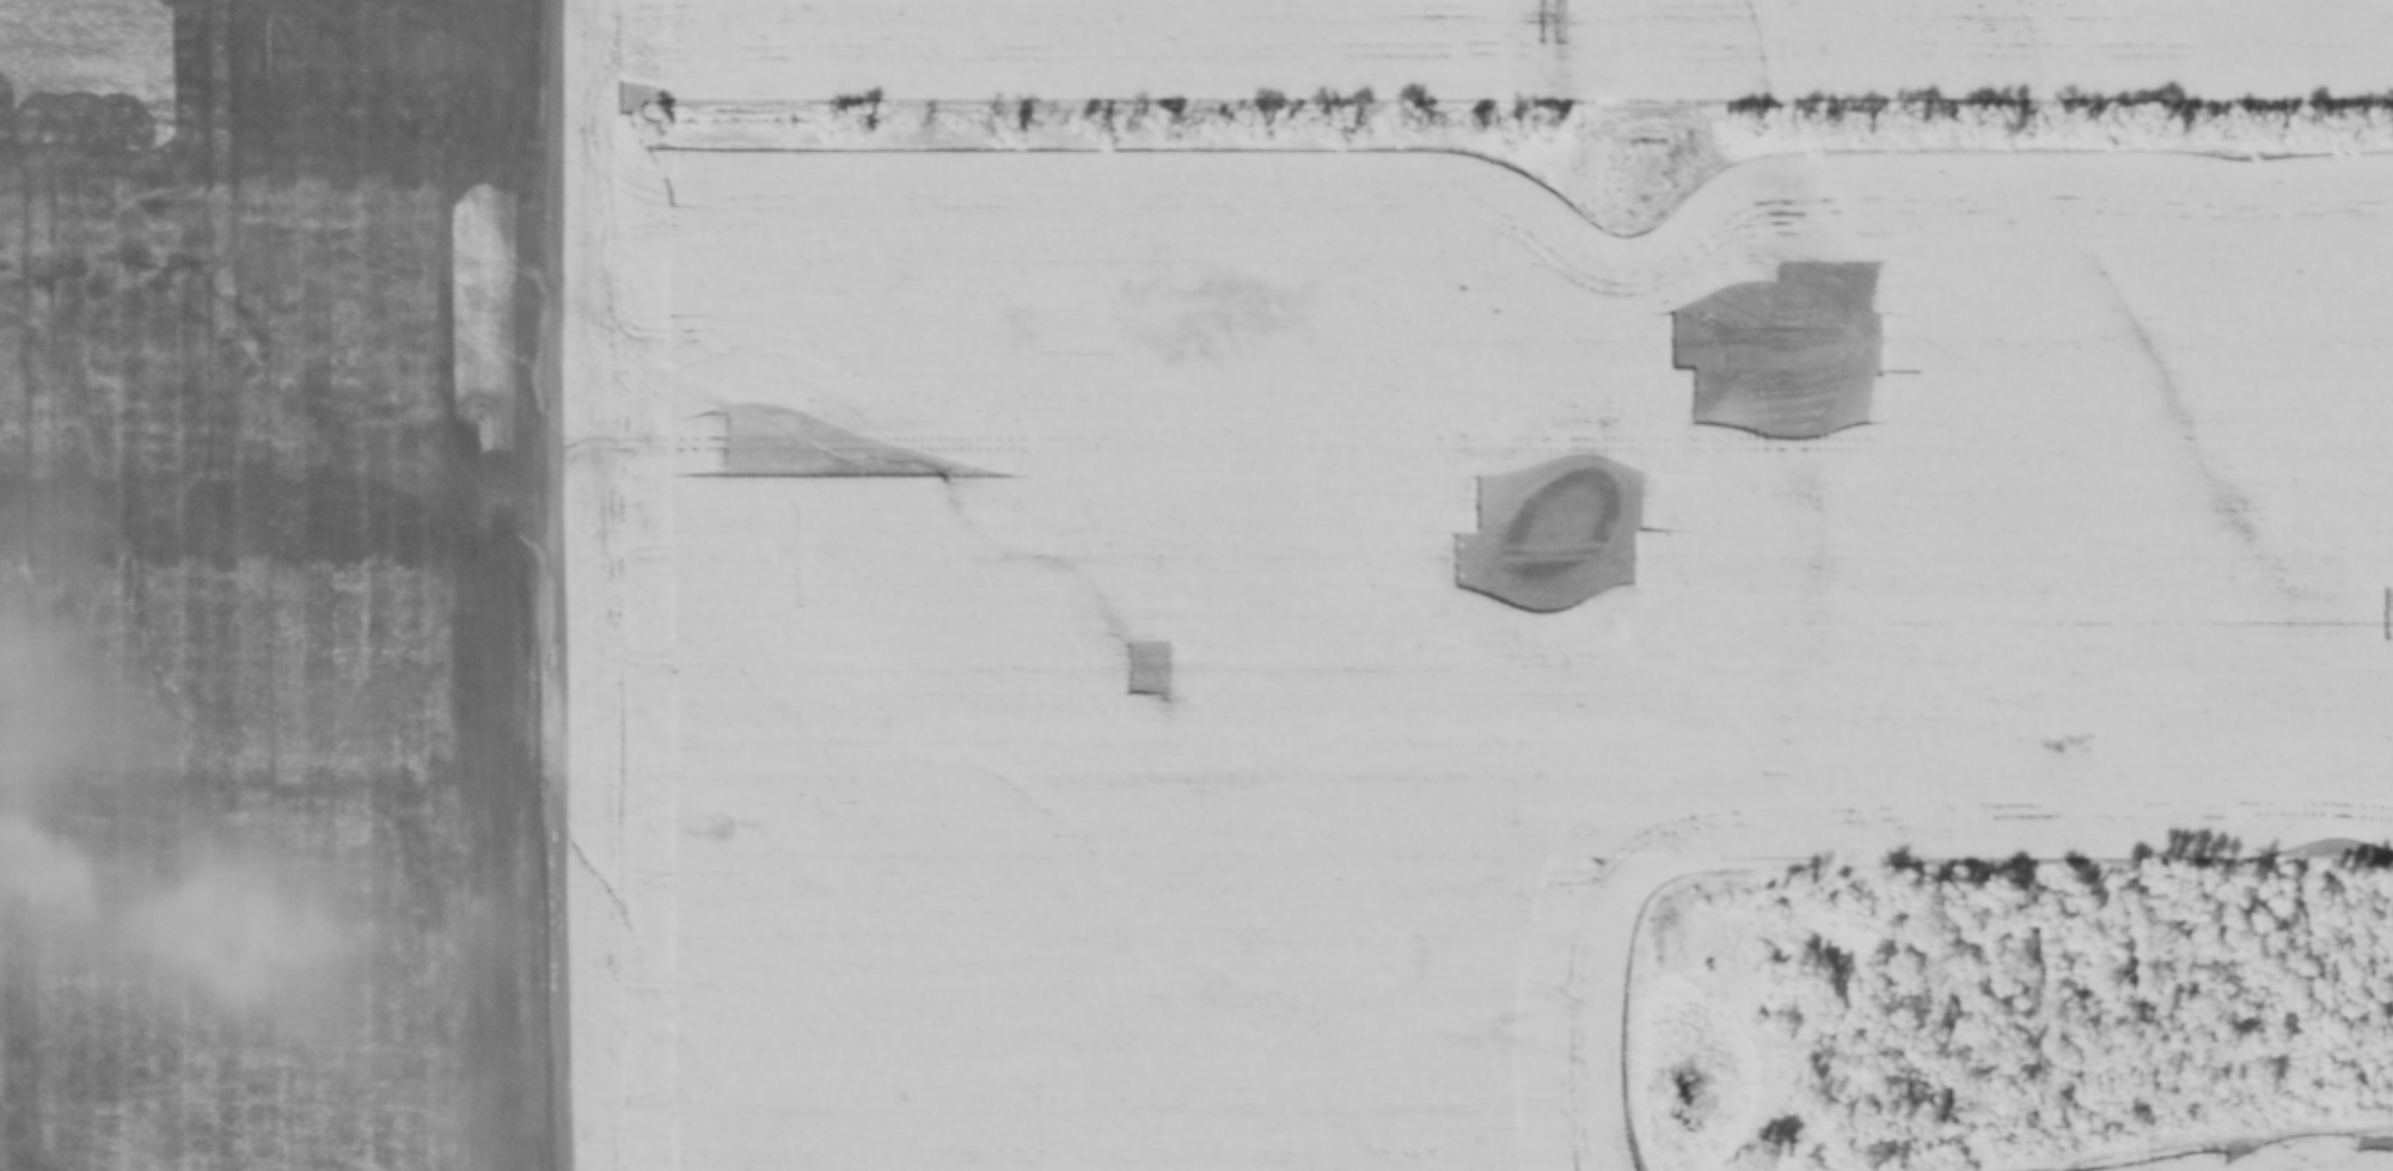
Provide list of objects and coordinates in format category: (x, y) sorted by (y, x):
road: (541, 584)

